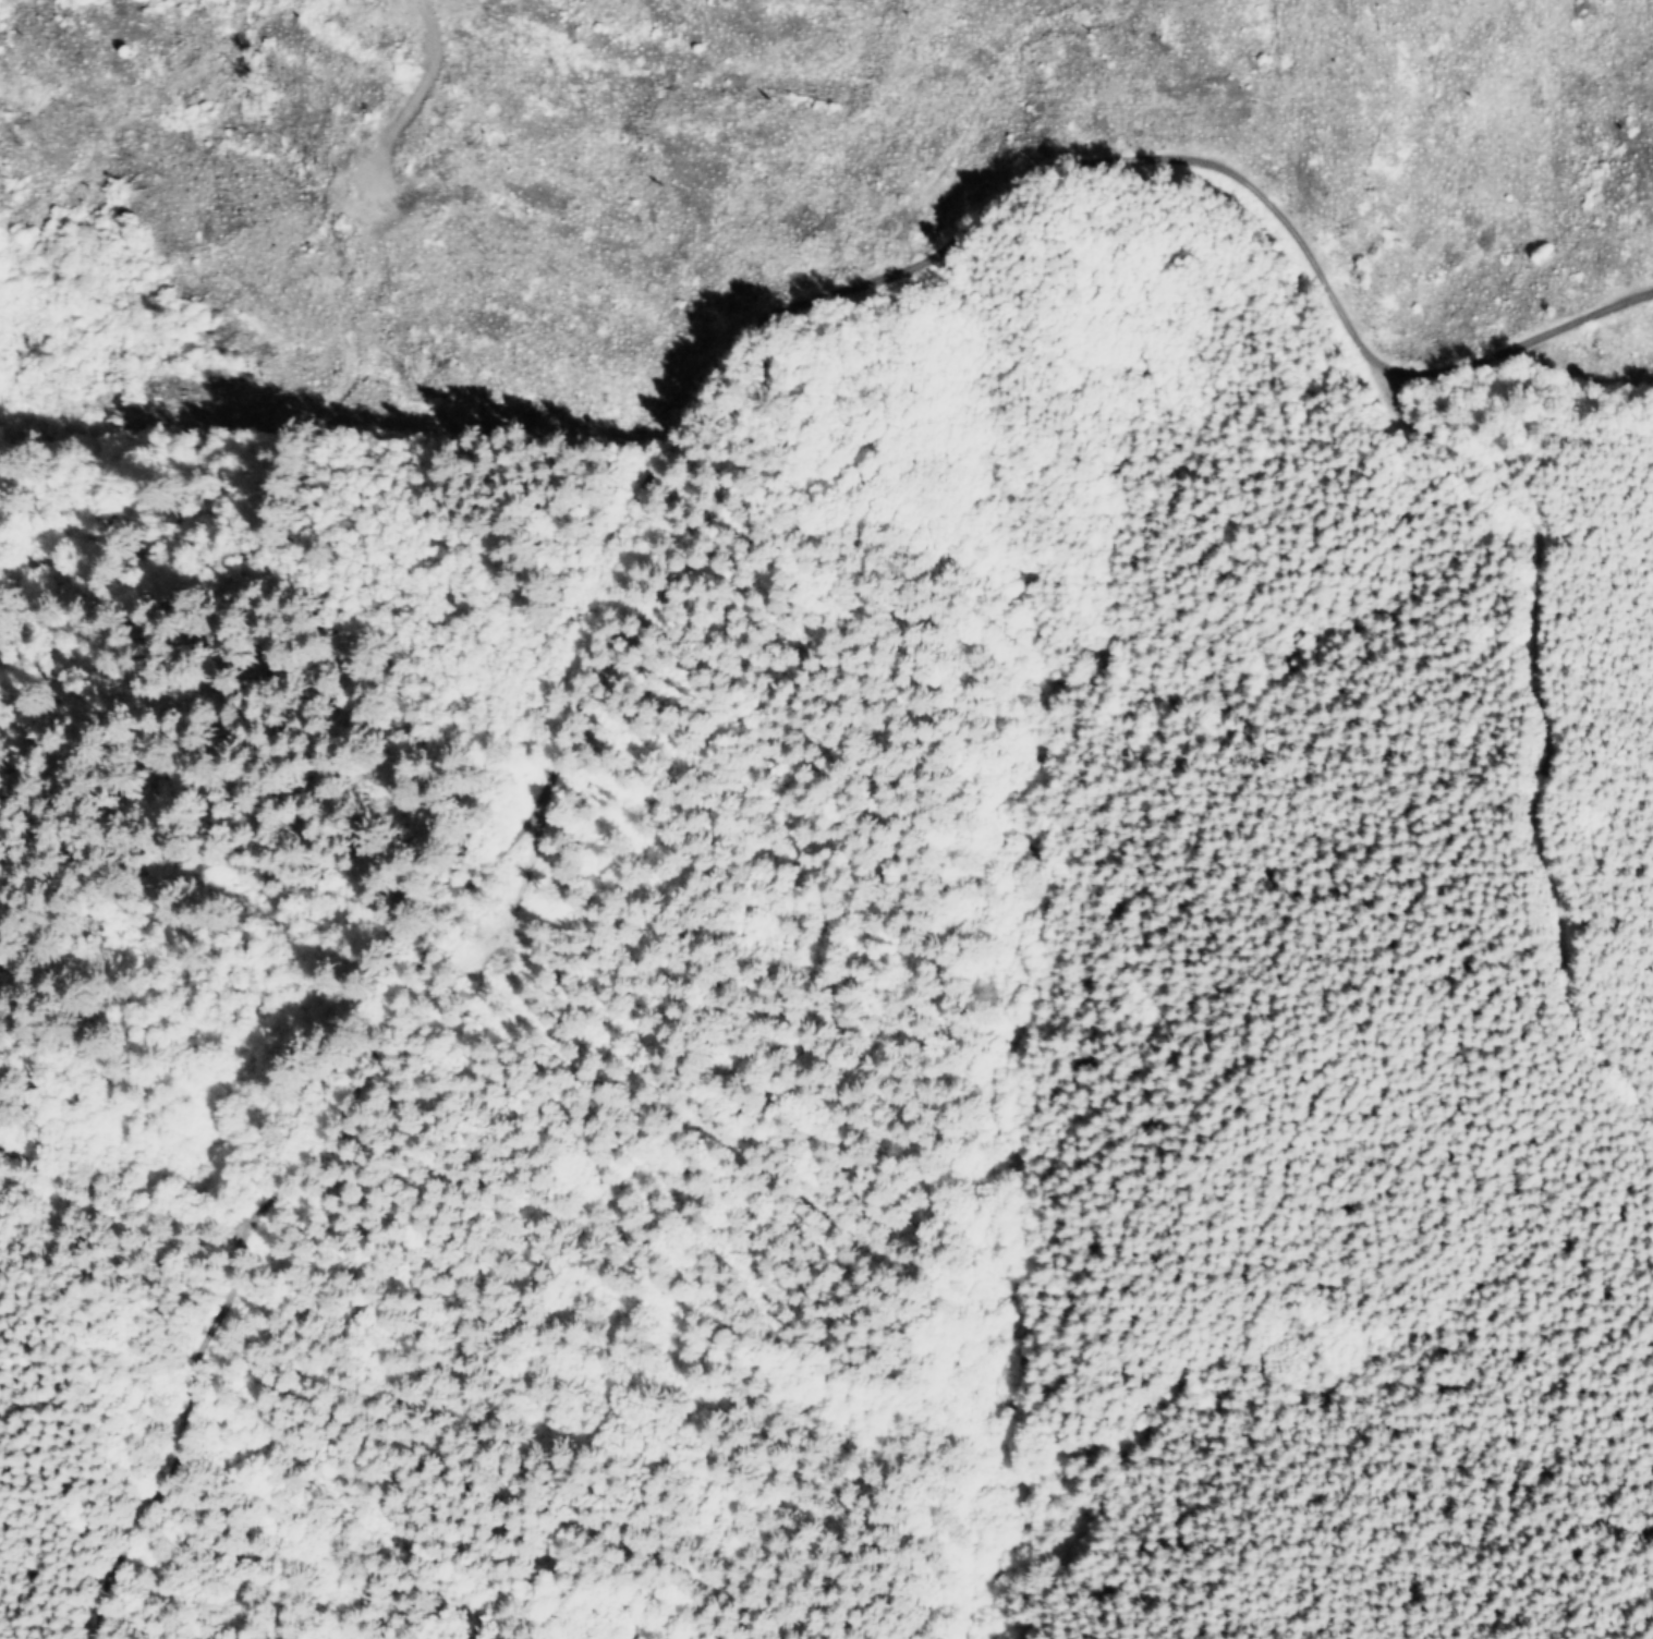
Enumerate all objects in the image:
road: (611, 494)
road: (112, 1079)

